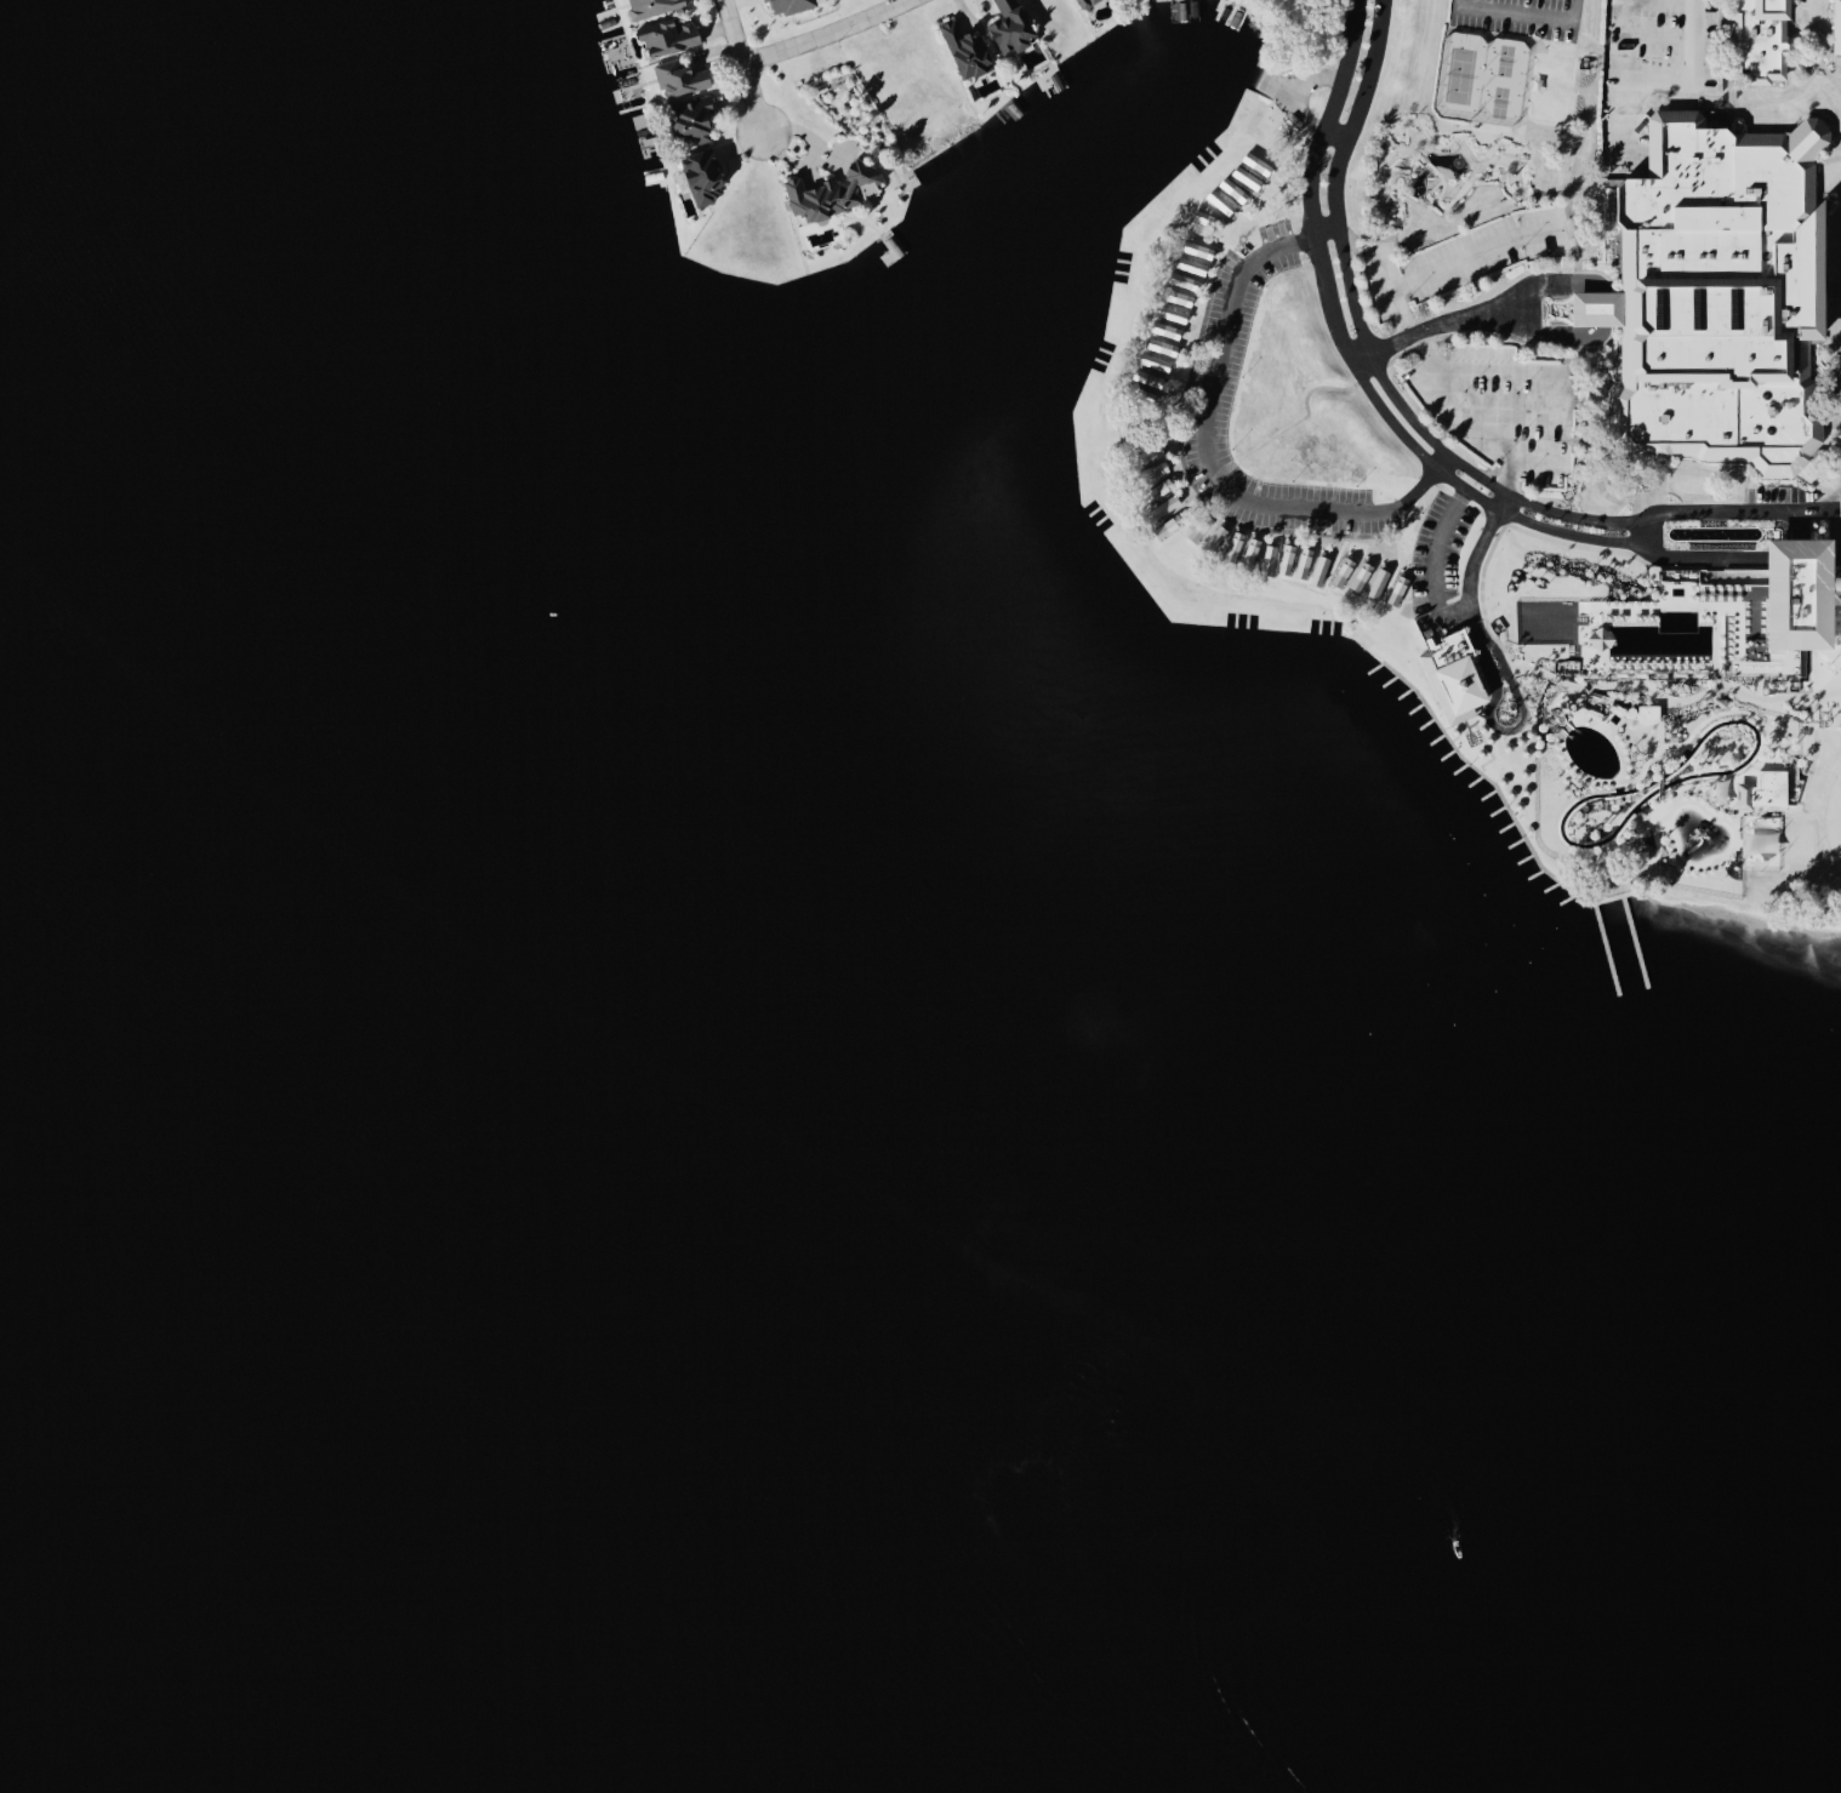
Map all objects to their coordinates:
building: (1085, 2)
building: (654, 6)
building: (790, 6)
park: (1527, 16)
building: (1013, 27)
building: (1837, 27)
road: (827, 33)
building: (669, 35)
building: (1763, 36)
building: (968, 50)
road: (745, 61)
park: (1489, 75)
building: (682, 78)
road: (1668, 80)
building: (1554, 86)
building: (694, 119)
building: (703, 176)
building: (1235, 189)
building: (836, 190)
road: (1450, 262)
building: (1190, 272)
road: (1560, 281)
building: (1717, 291)
road: (1364, 337)
building: (1161, 350)
road: (1472, 421)
road: (1212, 449)
building: (1159, 484)
road: (1732, 509)
building: (1255, 549)
road: (1689, 556)
building: (1341, 573)
building: (1807, 593)
road: (1500, 655)
building: (1464, 685)
building: (1651, 713)
building: (1763, 792)

